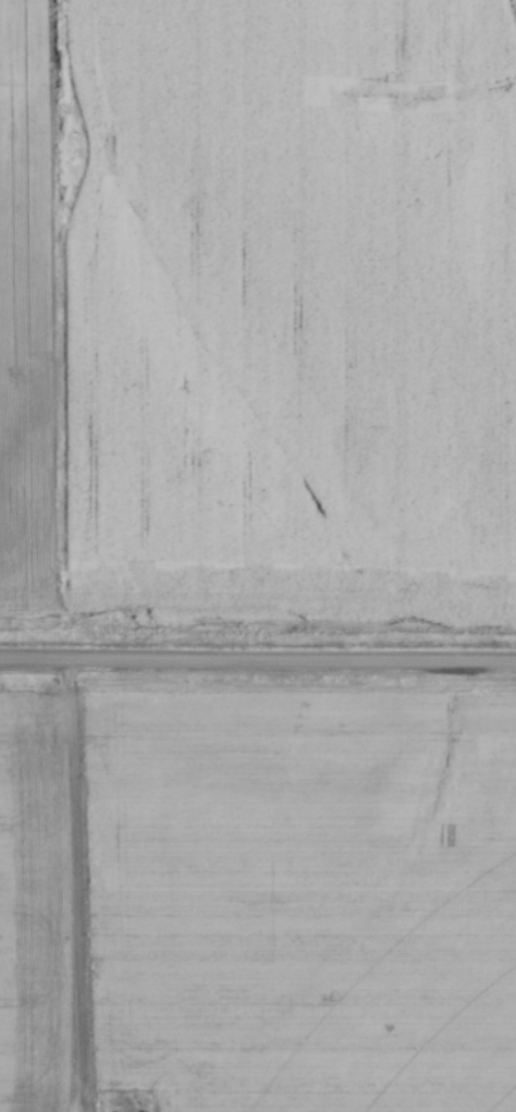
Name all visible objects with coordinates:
road: (257, 665)

